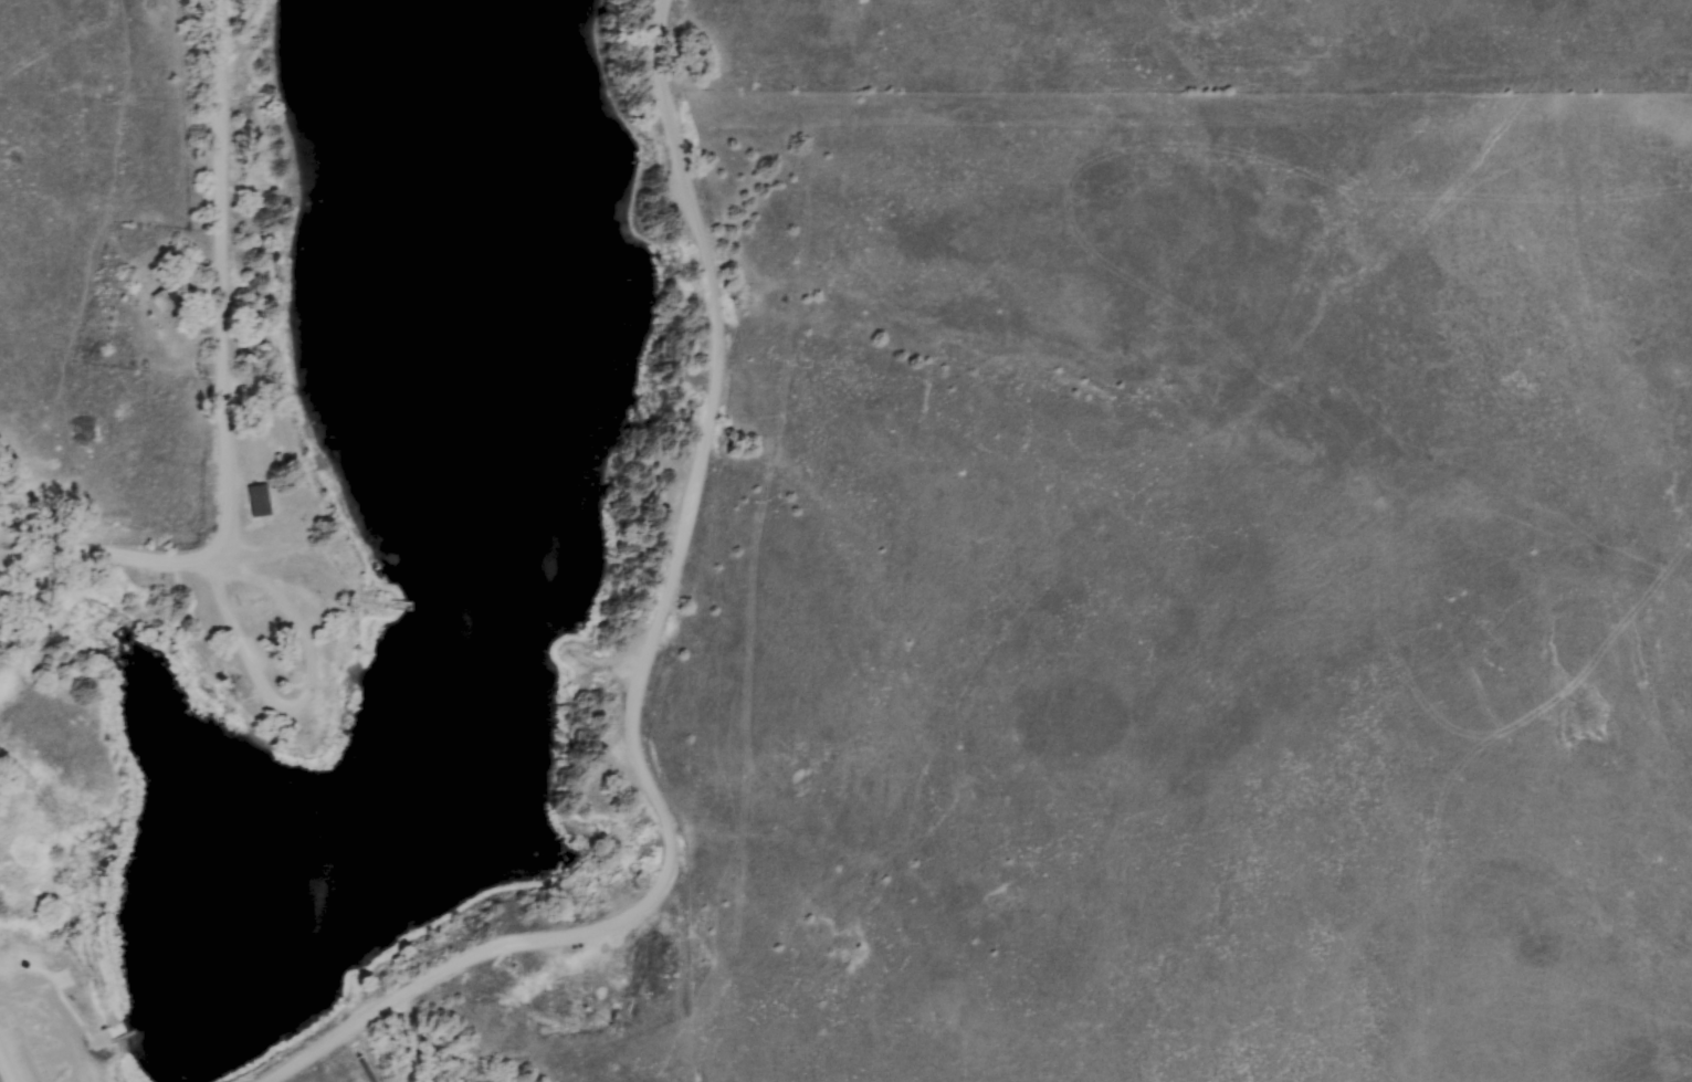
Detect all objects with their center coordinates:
building: (165, 300)
road: (230, 390)
park: (351, 535)
road: (643, 666)
road: (279, 698)
road: (9, 1062)

